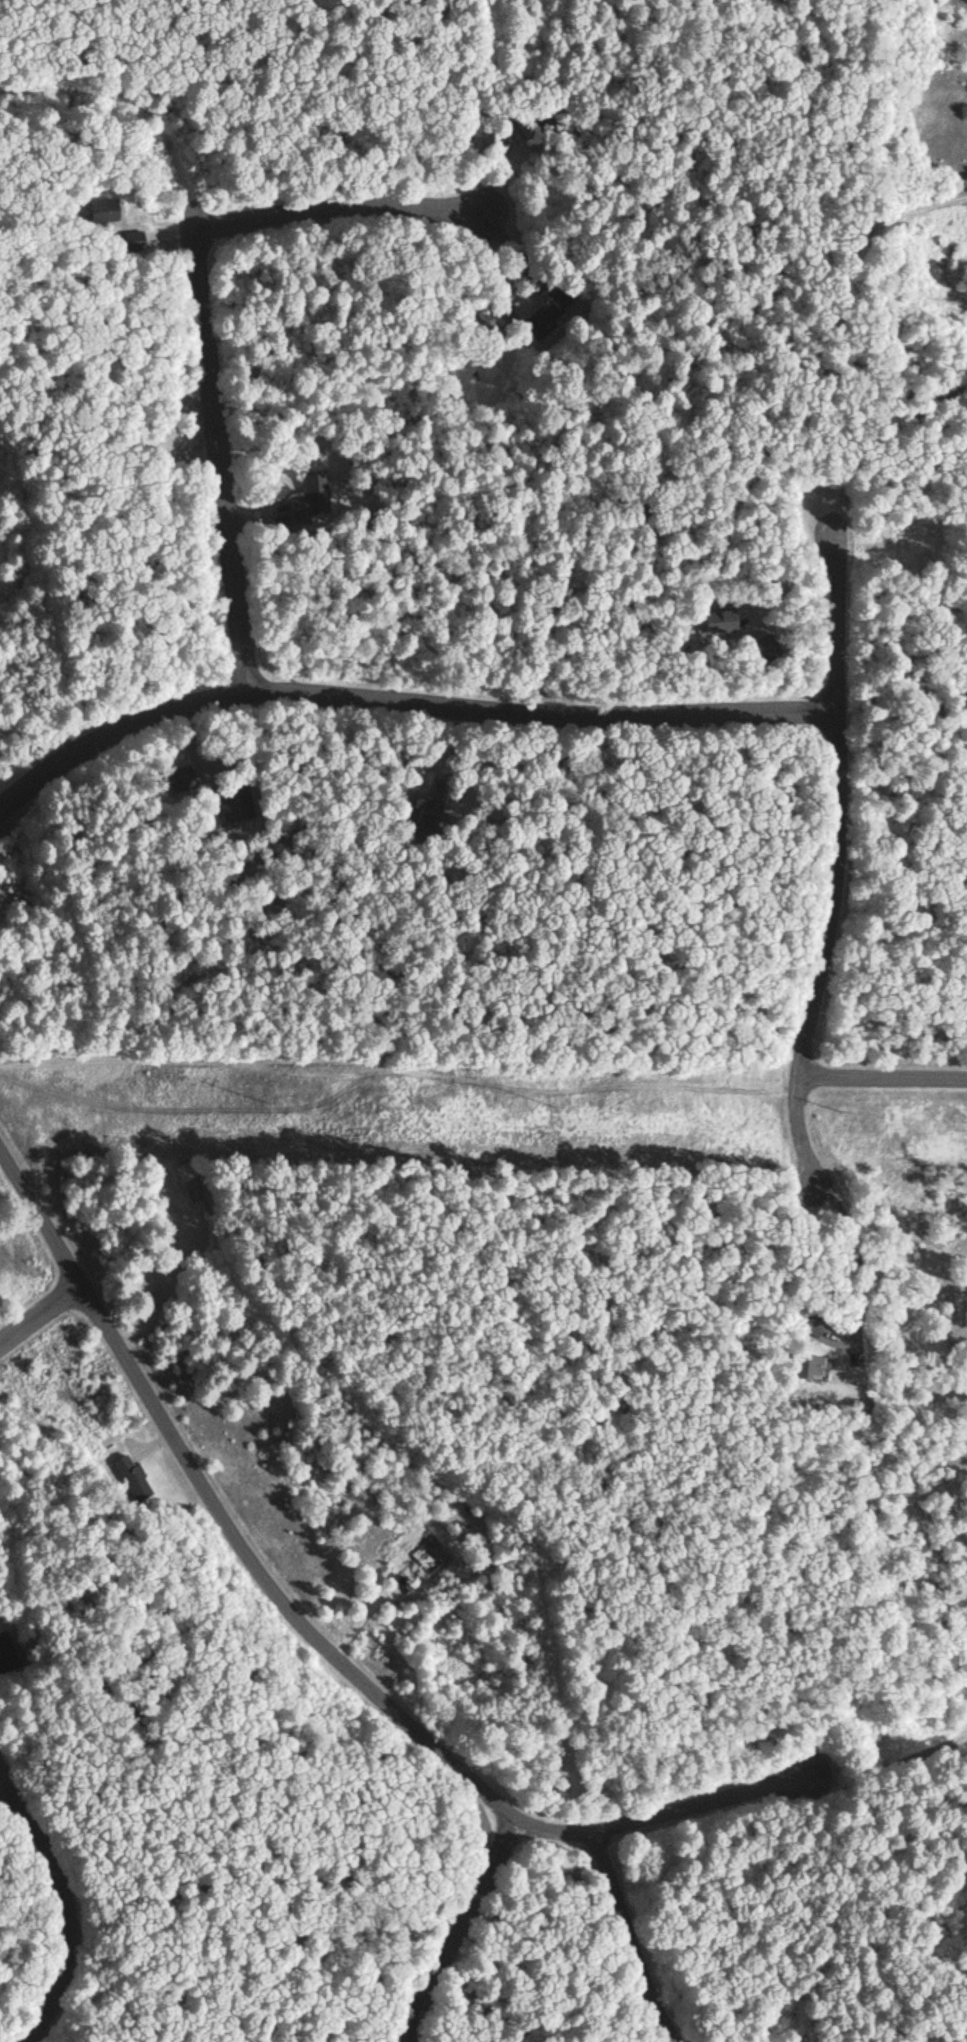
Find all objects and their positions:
road: (130, 112)
road: (344, 204)
building: (101, 210)
building: (132, 238)
road: (848, 261)
building: (549, 313)
building: (138, 435)
road: (216, 456)
building: (312, 497)
building: (713, 620)
road: (405, 703)
building: (239, 801)
road: (845, 801)
road: (882, 1075)
road: (799, 1131)
road: (37, 1311)
building: (133, 1478)
road: (221, 1511)
building: (7, 1651)
road: (663, 1804)
road: (58, 1902)
road: (447, 1934)
road: (620, 1939)

